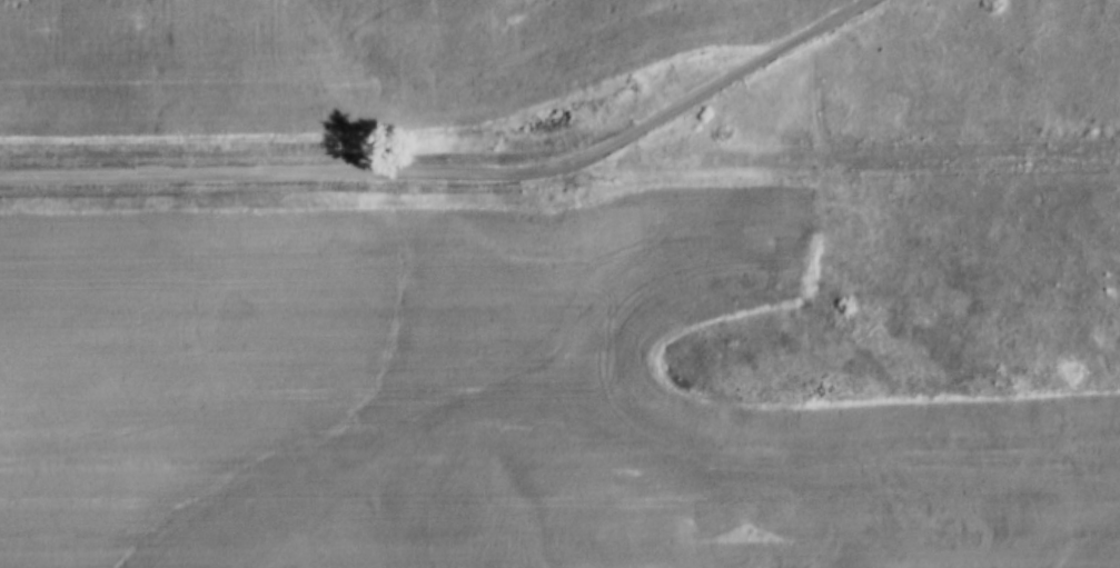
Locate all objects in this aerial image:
road: (831, 163)
road: (457, 166)

